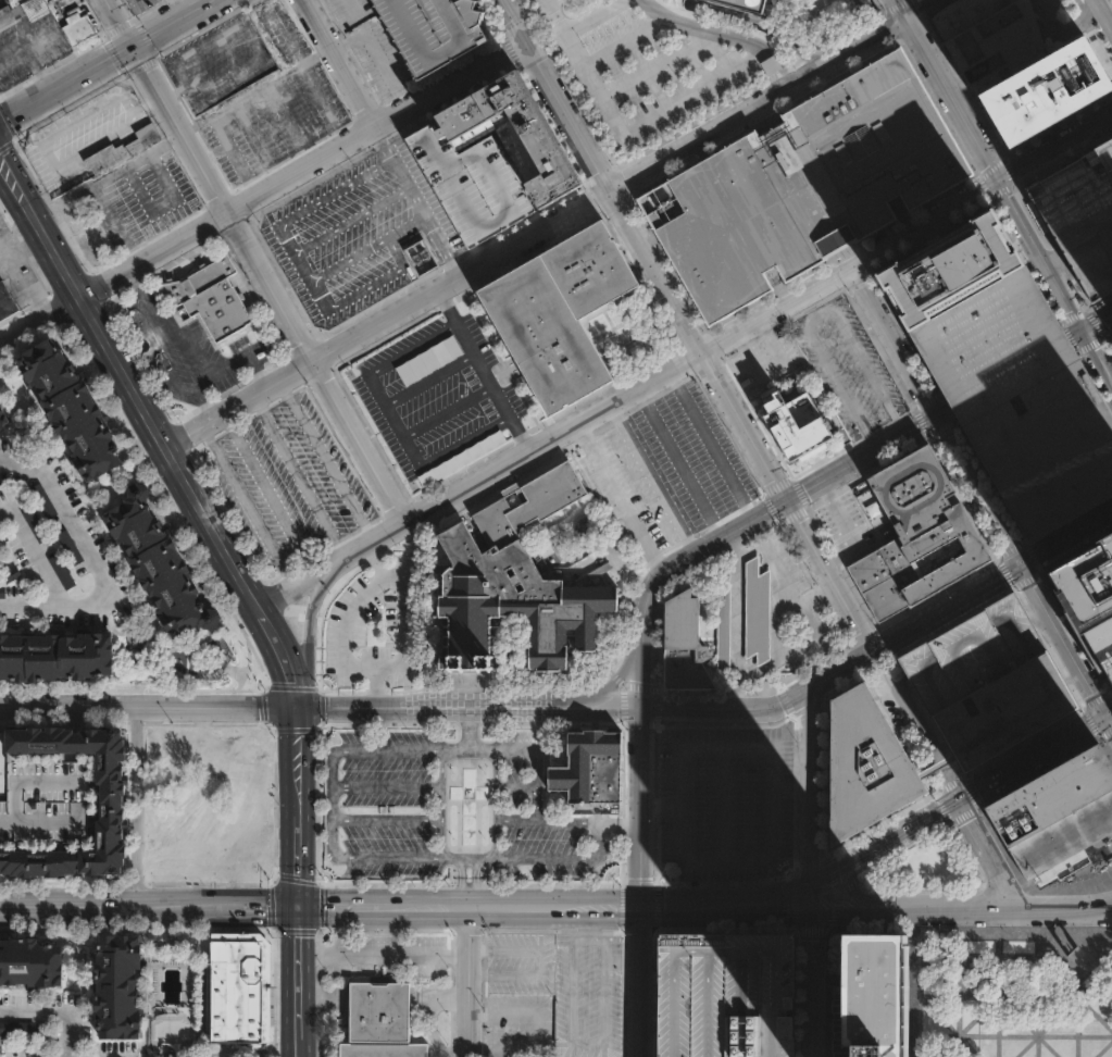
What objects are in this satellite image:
road: (362, 1)
building: (904, 1)
road: (196, 3)
parking lot: (140, 4)
building: (747, 4)
road: (916, 5)
road: (1105, 9)
building: (53, 16)
road: (592, 16)
road: (117, 22)
road: (171, 22)
road: (49, 24)
road: (376, 28)
building: (432, 29)
parking garage: (432, 29)
road: (723, 35)
building: (986, 37)
road: (626, 42)
traffic signals: (132, 45)
road: (260, 55)
parking lot: (216, 61)
road: (338, 62)
road: (299, 64)
building: (770, 64)
road: (14, 65)
road: (660, 67)
parking lot: (637, 70)
road: (38, 74)
road: (65, 82)
road: (254, 89)
building: (1041, 89)
road: (174, 91)
parking lot: (273, 104)
road: (284, 113)
road: (413, 116)
road: (11, 130)
road: (250, 132)
road: (625, 133)
road: (41, 137)
building: (535, 138)
road: (227, 145)
building: (117, 149)
building: (1103, 158)
road: (107, 176)
road: (4, 178)
building: (468, 183)
parking garage: (468, 183)
building: (801, 183)
road: (1004, 188)
road: (262, 190)
parking lot: (139, 196)
road: (320, 199)
road: (414, 201)
road: (350, 220)
building: (1077, 221)
parking garage: (1077, 221)
parking lot: (84, 226)
road: (535, 233)
parking lot: (357, 234)
road: (25, 241)
road: (365, 248)
road: (483, 249)
road: (395, 252)
building: (418, 256)
road: (1053, 260)
road: (300, 266)
building: (944, 268)
traffic signals: (847, 270)
road: (41, 272)
road: (23, 273)
road: (141, 274)
road: (266, 284)
road: (349, 297)
building: (214, 299)
building: (7, 300)
building: (557, 313)
road: (688, 322)
road: (185, 323)
road: (1089, 323)
building: (1111, 335)
road: (166, 347)
road: (410, 347)
road: (253, 349)
road: (703, 351)
parking lot: (764, 359)
parking lot: (845, 365)
road: (483, 370)
road: (772, 370)
road: (867, 370)
road: (832, 372)
road: (1005, 372)
road: (428, 377)
road: (126, 384)
road: (210, 396)
building: (1019, 399)
parking garage: (1019, 399)
building: (73, 406)
road: (448, 411)
traffic signals: (932, 414)
road: (932, 415)
road: (393, 418)
building: (3, 419)
building: (796, 424)
road: (465, 440)
road: (709, 445)
building: (461, 457)
road: (326, 459)
road: (677, 462)
parking lot: (669, 465)
road: (297, 475)
parking lot: (290, 476)
road: (651, 478)
road: (801, 487)
traffic signals: (787, 496)
road: (616, 497)
building: (43, 500)
road: (1066, 513)
building: (35, 522)
road: (1064, 536)
building: (920, 538)
road: (287, 548)
road: (1010, 549)
road: (34, 551)
building: (72, 551)
road: (98, 555)
road: (309, 557)
traffic signals: (1017, 563)
building: (157, 568)
building: (61, 570)
road: (285, 571)
building: (11, 574)
road: (1026, 581)
building: (512, 582)
building: (2, 590)
building: (1089, 596)
road: (273, 597)
road: (651, 598)
building: (727, 619)
road: (911, 623)
road: (346, 624)
road: (403, 629)
road: (1073, 633)
road: (308, 634)
road: (1061, 638)
road: (1048, 646)
building: (55, 652)
road: (278, 655)
road: (644, 668)
road: (1067, 673)
road: (620, 675)
building: (984, 680)
parking garage: (984, 680)
traffic signals: (809, 688)
road: (1109, 692)
road: (1109, 696)
road: (790, 698)
road: (1094, 698)
road: (147, 707)
traffic signals: (295, 707)
road: (435, 707)
road: (609, 708)
traffic signals: (642, 708)
road: (707, 708)
road: (1109, 711)
traffic signals: (1105, 713)
road: (1109, 719)
road: (73, 720)
road: (1090, 721)
road: (914, 722)
road: (1105, 734)
road: (1023, 743)
road: (73, 744)
road: (717, 747)
road: (1105, 747)
road: (386, 749)
road: (454, 749)
road: (517, 749)
road: (297, 756)
road: (73, 759)
building: (3, 761)
building: (862, 766)
road: (936, 767)
building: (588, 768)
road: (1038, 770)
road: (386, 783)
road: (809, 784)
road: (948, 785)
road: (970, 791)
road: (957, 797)
traffic signals: (957, 798)
parking lot: (728, 800)
road: (725, 801)
building: (43, 803)
parking garage: (43, 803)
road: (334, 803)
road: (439, 803)
building: (111, 804)
road: (133, 806)
road: (642, 807)
road: (941, 807)
parking lot: (450, 808)
building: (1054, 810)
road: (964, 813)
road: (545, 821)
road: (595, 838)
road: (496, 851)
road: (986, 851)
road: (297, 856)
road: (389, 856)
road: (454, 856)
road: (545, 856)
road: (734, 856)
road: (467, 880)
traffic signals: (809, 881)
road: (840, 885)
road: (809, 896)
road: (763, 897)
road: (505, 905)
road: (67, 906)
road: (216, 906)
traffic signals: (297, 906)
traffic signals: (642, 907)
road: (913, 909)
traffic signals: (810, 911)
road: (1078, 913)
road: (587, 918)
road: (382, 954)
road: (297, 955)
parking lot: (389, 955)
road: (537, 961)
parking lot: (520, 962)
road: (809, 963)
building: (27, 966)
road: (1004, 973)
road: (1085, 978)
road: (467, 981)
road: (641, 982)
building: (117, 986)
building: (238, 986)
parking lot: (588, 995)
building: (724, 996)
parking garage: (724, 996)
building: (873, 996)
road: (997, 998)
park: (1020, 998)
road: (997, 1007)
road: (1017, 1010)
road: (1057, 1012)
road: (55, 1014)
road: (1037, 1018)
road: (946, 1020)
building: (380, 1021)
parking lot: (518, 1024)
building: (16, 1027)
road: (1077, 1027)
road: (297, 1030)
road: (539, 1030)
road: (1035, 1033)
road: (809, 1036)
road: (587, 1041)
road: (971, 1044)
road: (1026, 1045)
road: (1048, 1045)
road: (800, 1046)
road: (1103, 1048)

